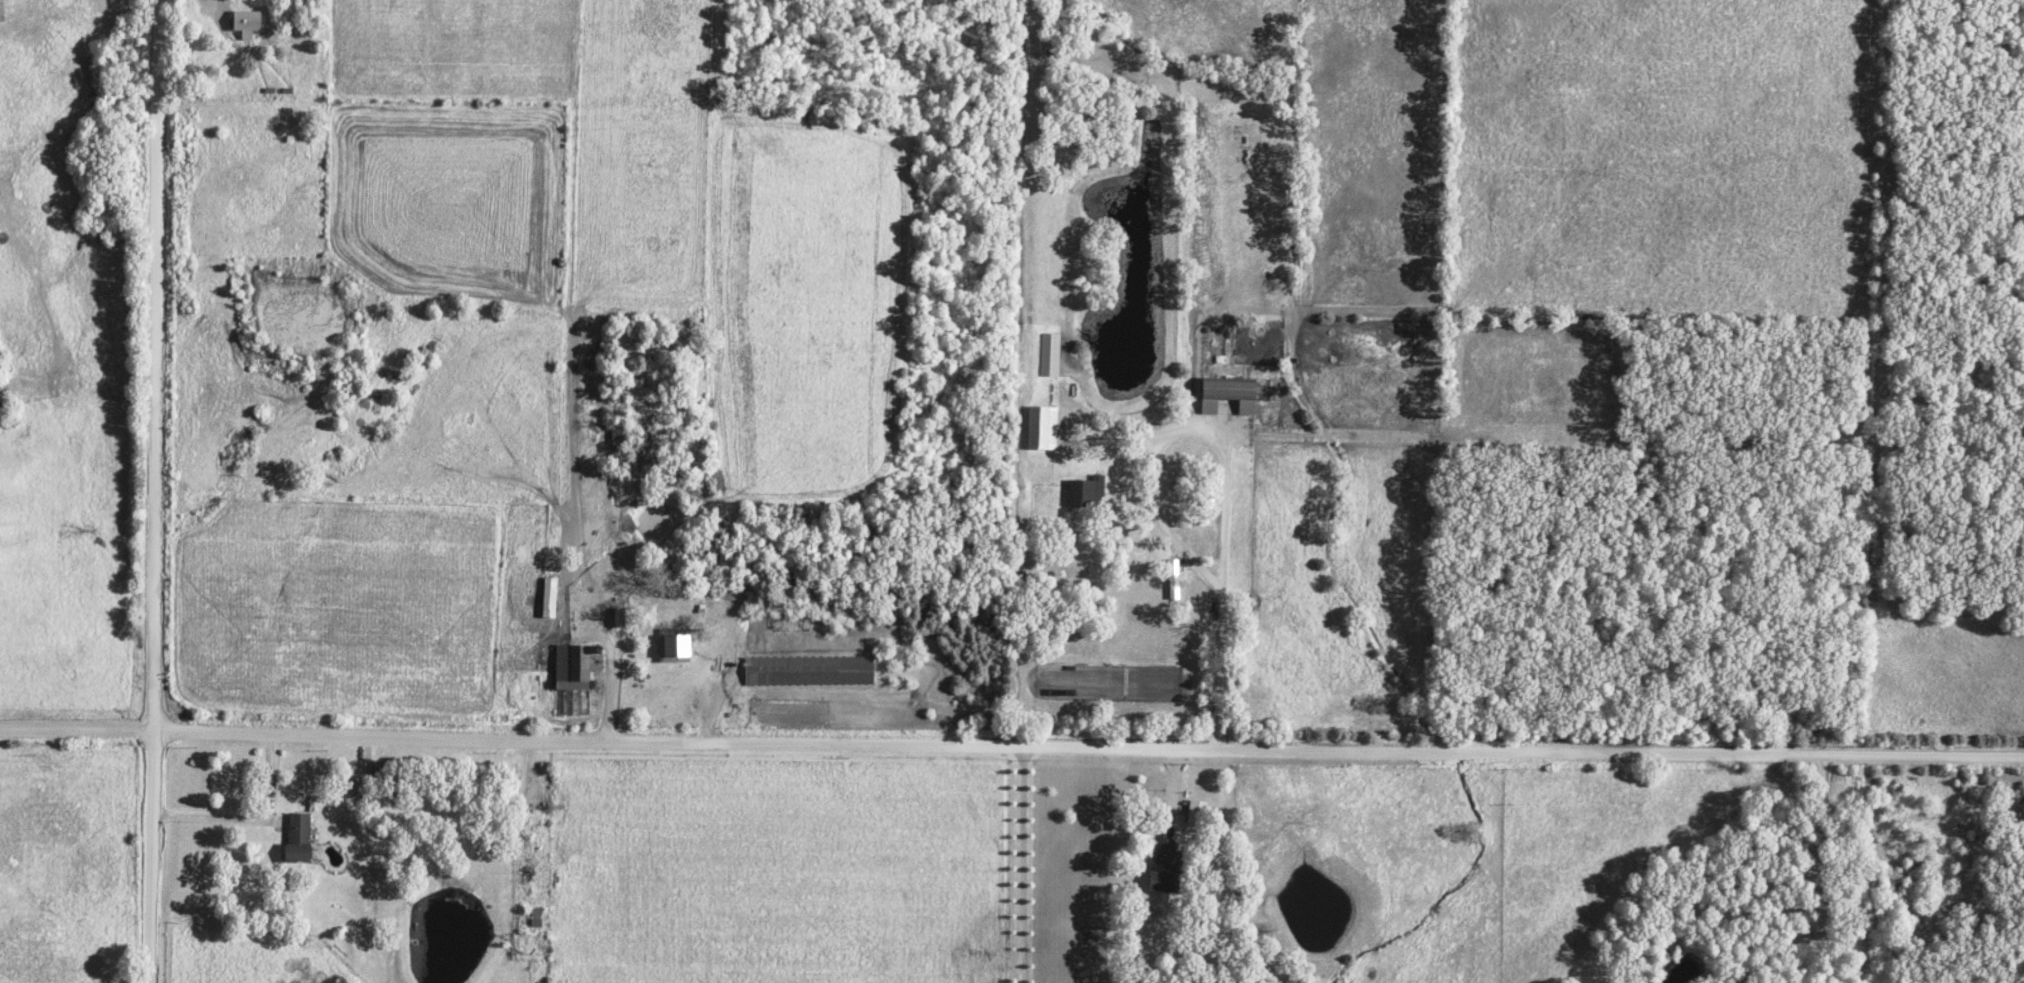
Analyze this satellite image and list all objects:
building: (244, 23)
building: (1049, 355)
building: (1225, 395)
building: (1041, 428)
road: (145, 491)
building: (1084, 492)
road: (1159, 530)
building: (1172, 592)
building: (548, 598)
building: (672, 644)
building: (575, 666)
road: (1213, 667)
building: (805, 673)
road: (603, 688)
road: (1011, 746)
road: (1166, 792)
building: (1193, 813)
road: (245, 818)
road: (511, 825)
building: (295, 840)
road: (1022, 864)
building: (1161, 867)
road: (1819, 889)

